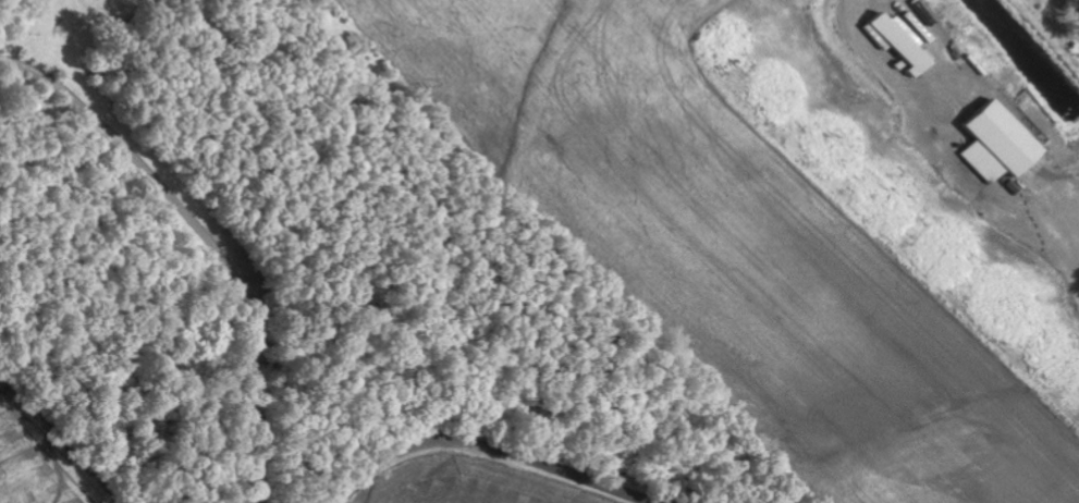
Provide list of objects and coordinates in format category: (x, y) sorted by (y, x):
building: (906, 44)
building: (1003, 146)
road: (492, 452)

